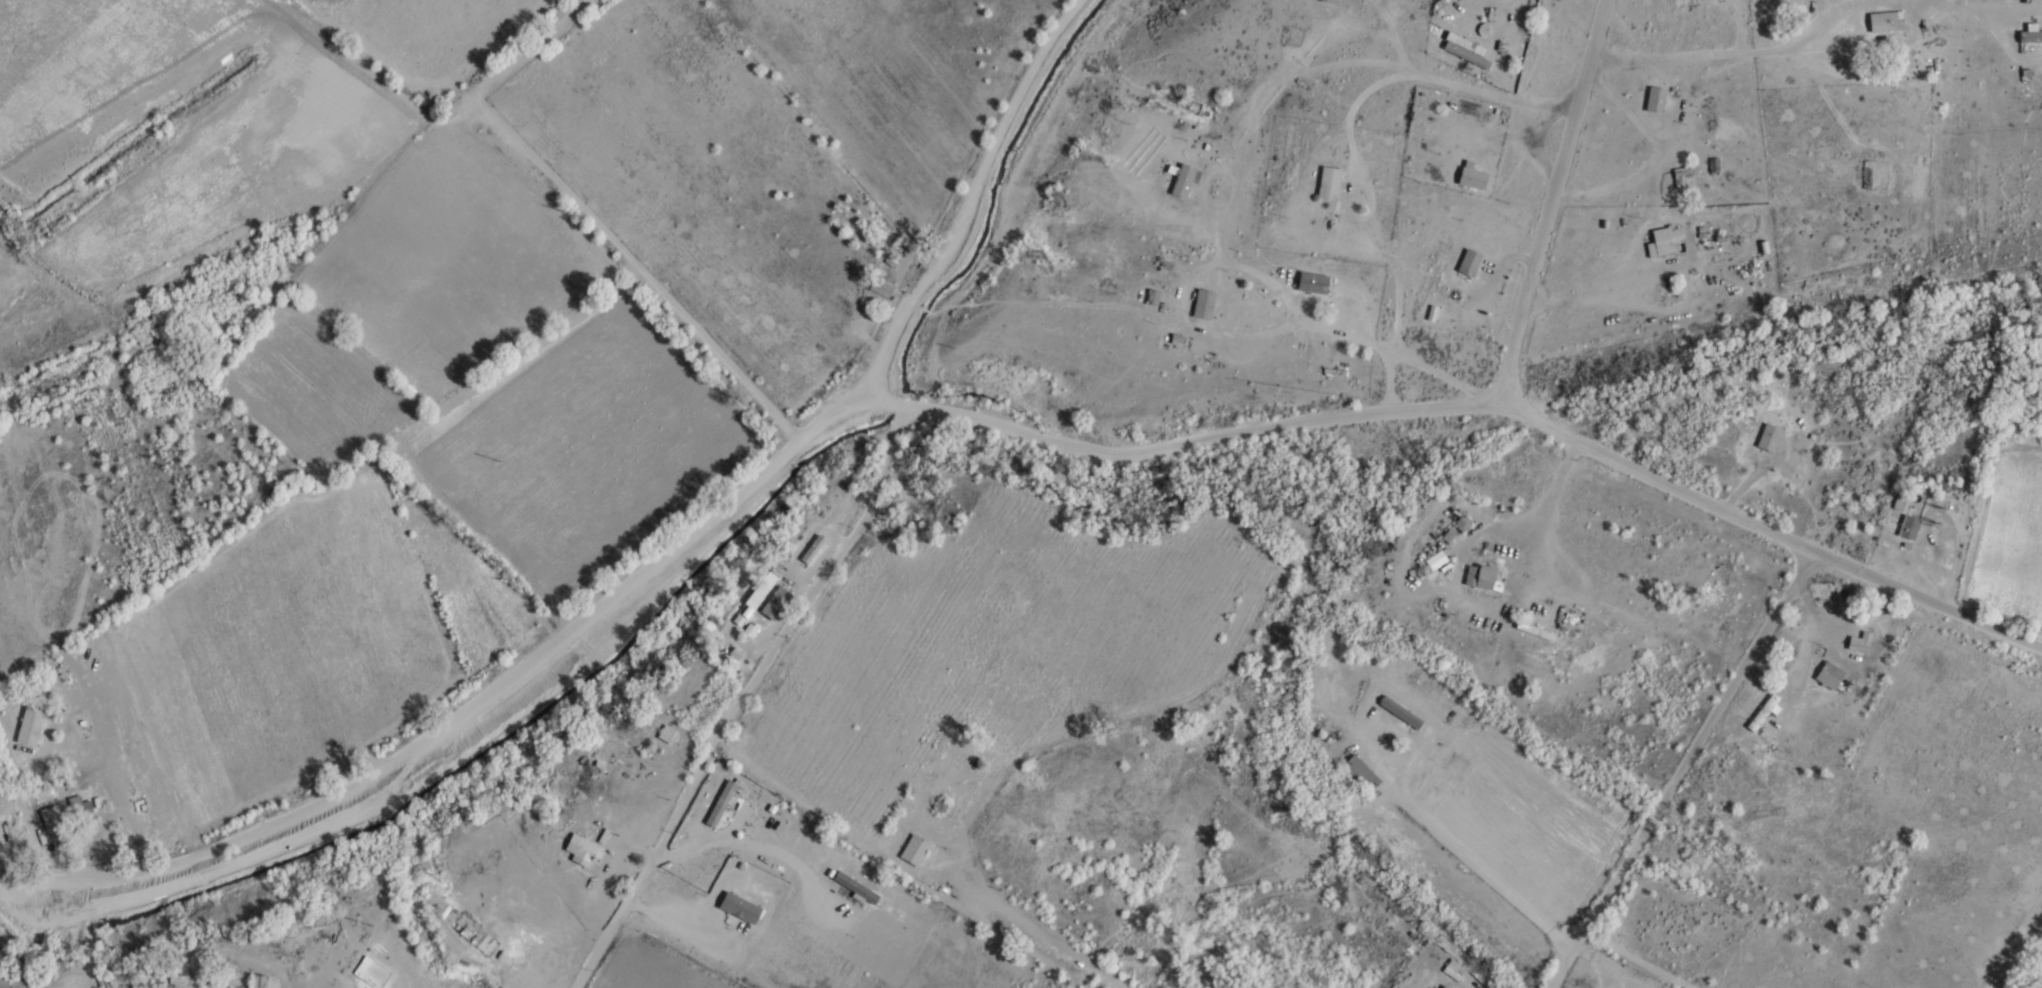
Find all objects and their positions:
building: (1331, 1)
building: (1887, 22)
building: (2030, 36)
building: (1657, 100)
building: (1867, 178)
building: (1681, 181)
building: (1330, 183)
road: (966, 200)
road: (1553, 203)
road: (581, 209)
building: (1668, 242)
building: (1471, 262)
building: (1314, 283)
building: (881, 287)
building: (1152, 297)
building: (1204, 304)
road: (1527, 417)
building: (1770, 437)
building: (1910, 527)
building: (813, 549)
building: (1502, 549)
building: (1437, 561)
building: (1488, 573)
building: (777, 602)
building: (1728, 620)
building: (1861, 642)
building: (1830, 676)
road: (510, 677)
road: (748, 698)
building: (1764, 713)
building: (1410, 717)
building: (31, 727)
building: (668, 735)
road: (1679, 767)
building: (1362, 774)
building: (721, 803)
building: (82, 808)
building: (52, 818)
building: (582, 850)
building: (915, 850)
building: (1454, 967)
building: (260, 981)
building: (1447, 986)

